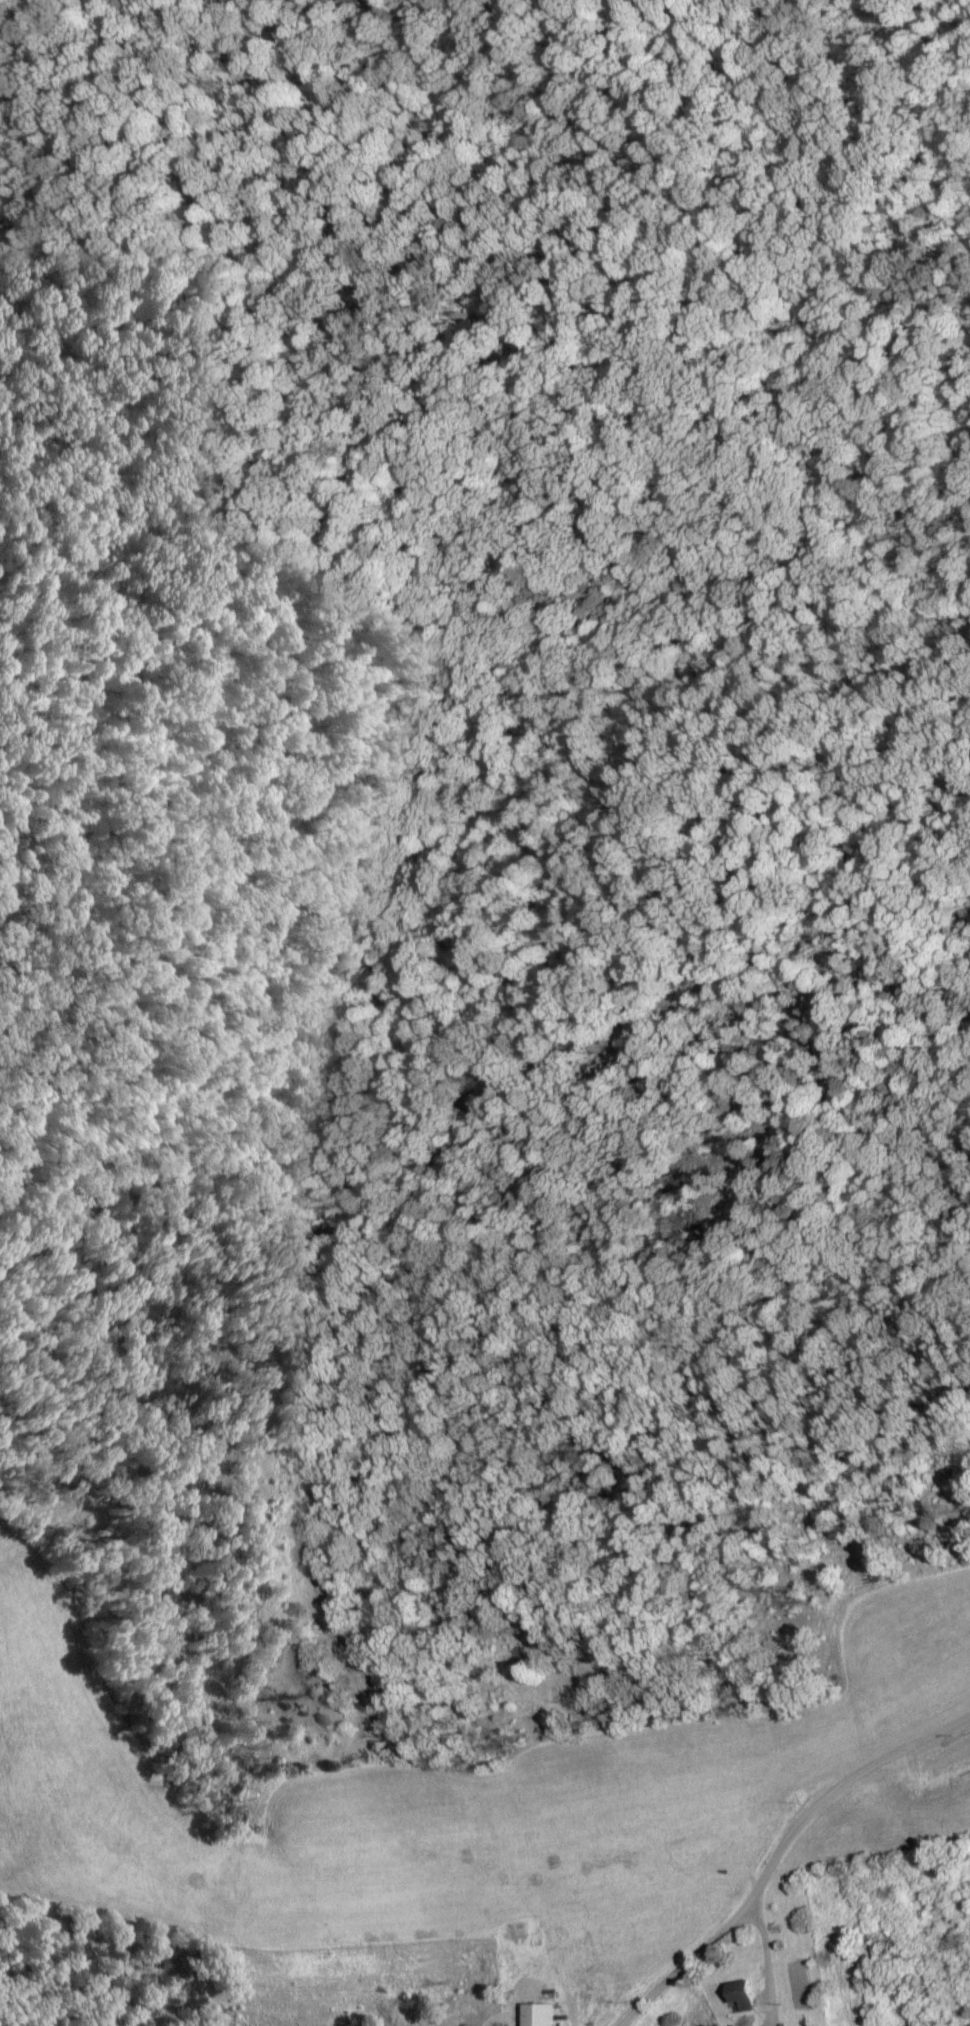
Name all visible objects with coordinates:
road: (779, 1850)
road: (771, 1960)
building: (742, 1996)
building: (537, 2015)

